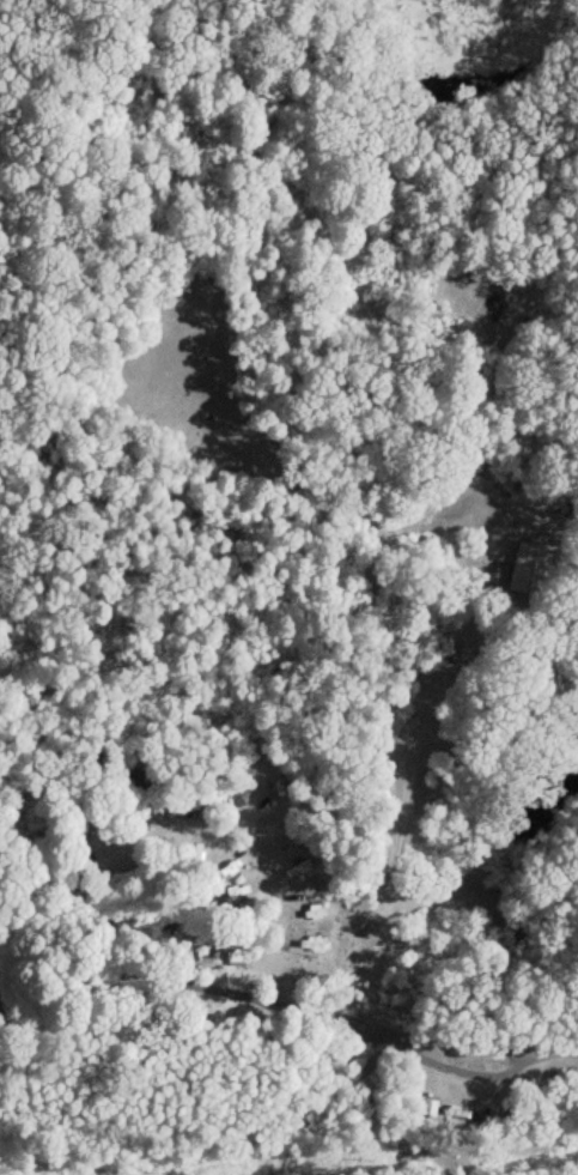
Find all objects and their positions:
building: (528, 569)
park: (288, 587)
road: (505, 873)

